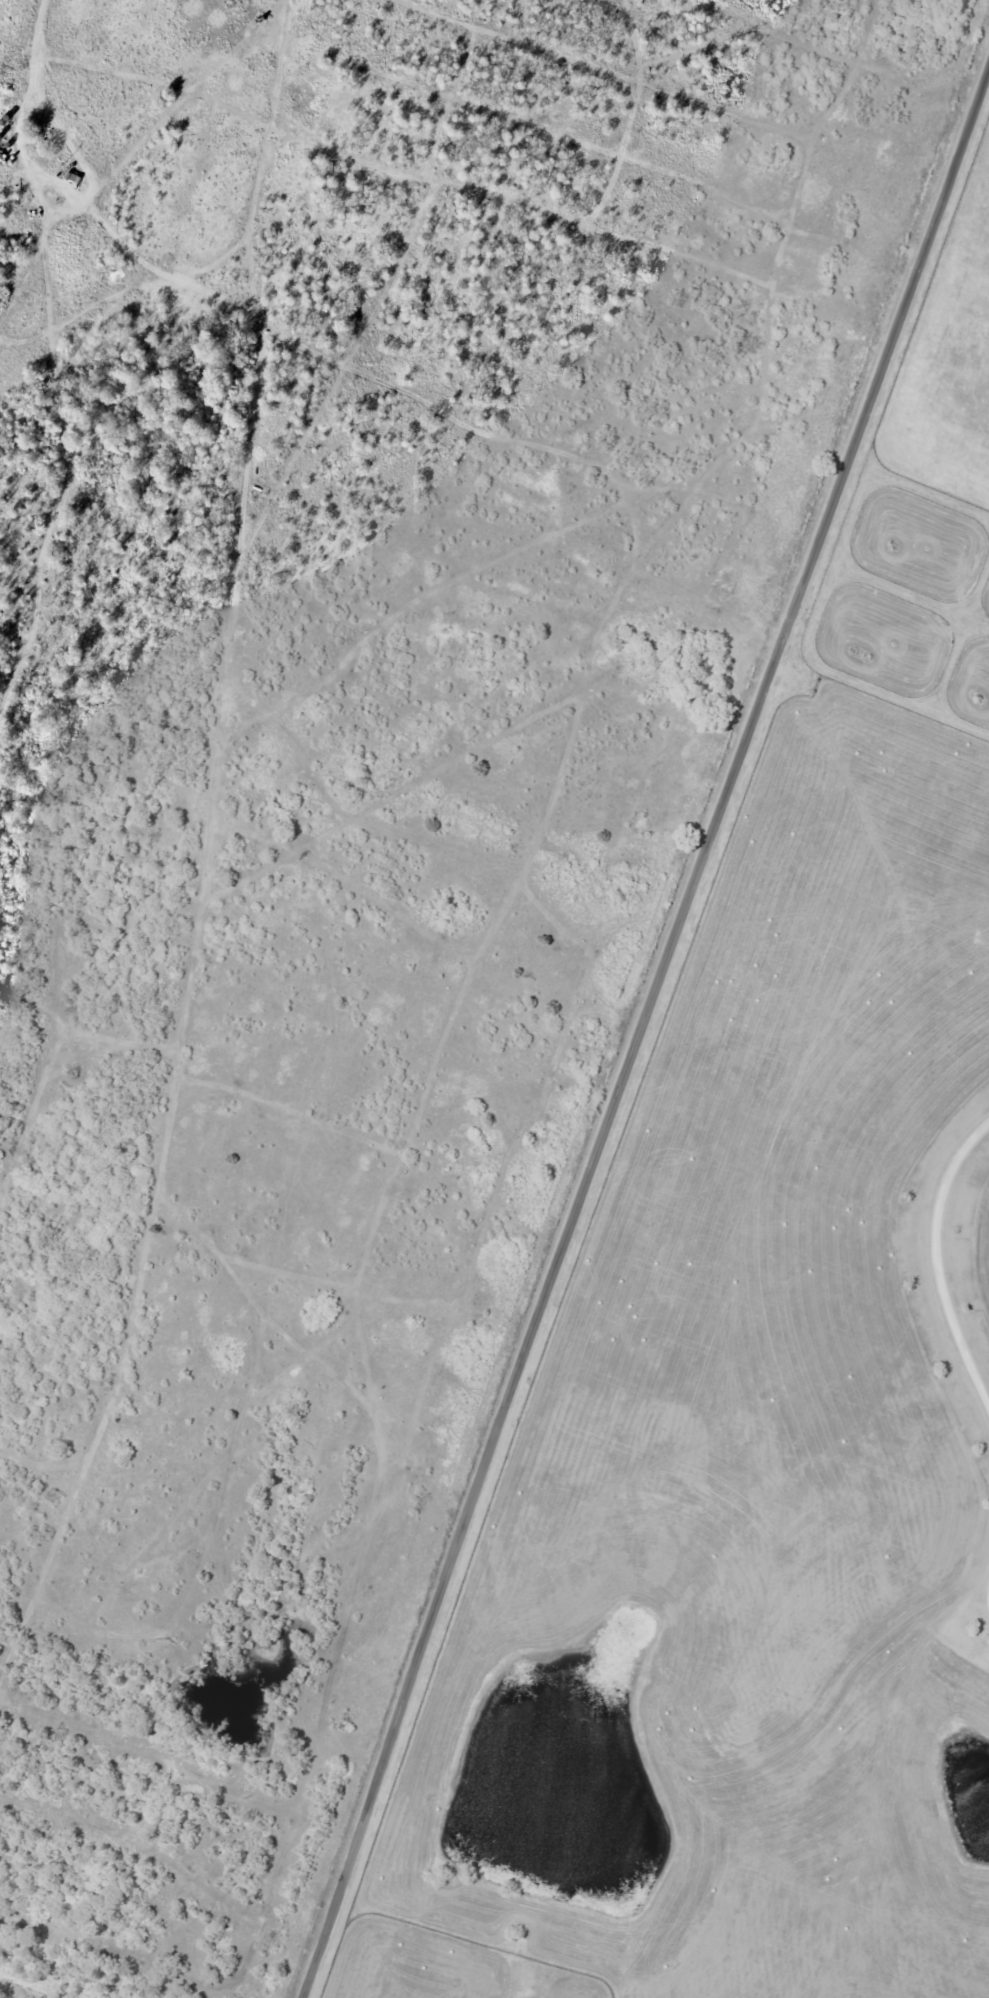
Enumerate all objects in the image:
road: (649, 1011)
road: (938, 1264)

